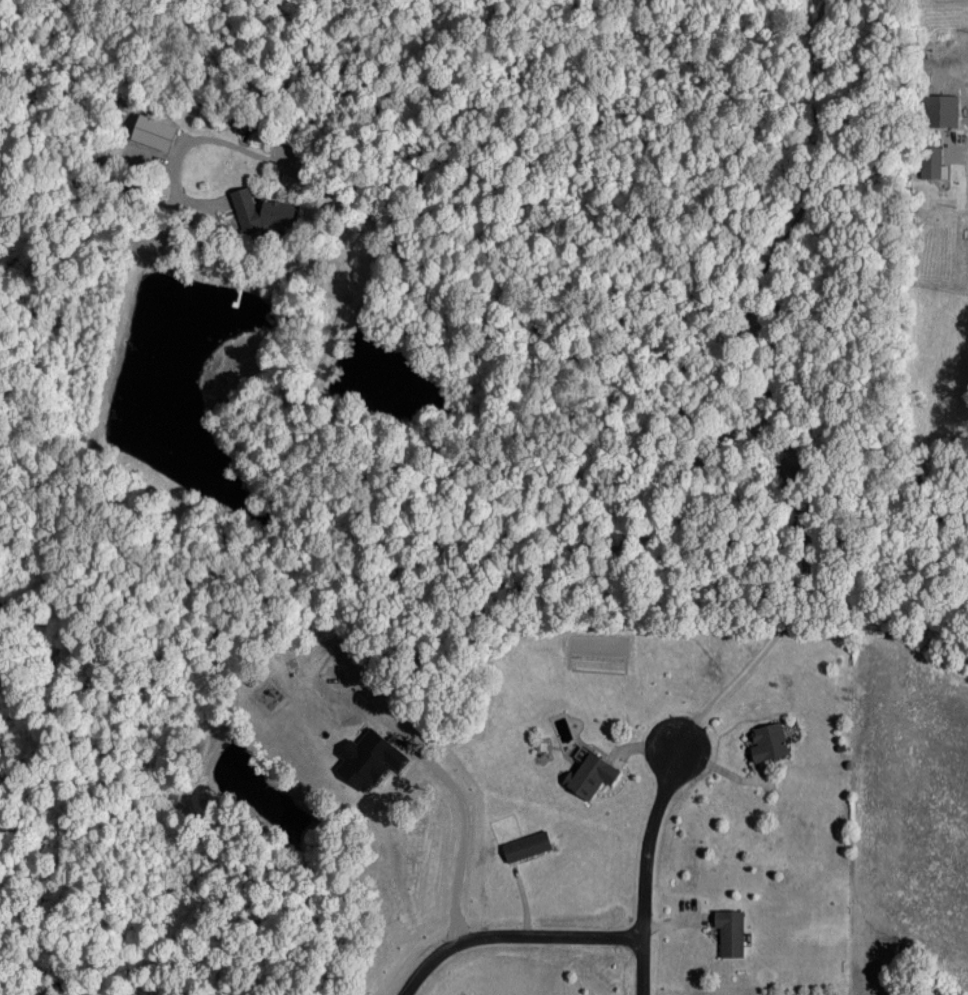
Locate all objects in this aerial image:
building: (939, 109)
building: (151, 131)
building: (932, 162)
building: (260, 210)
road: (624, 383)
building: (767, 741)
building: (366, 758)
building: (589, 775)
road: (463, 832)
building: (525, 845)
road: (646, 860)
building: (729, 931)
road: (511, 934)

